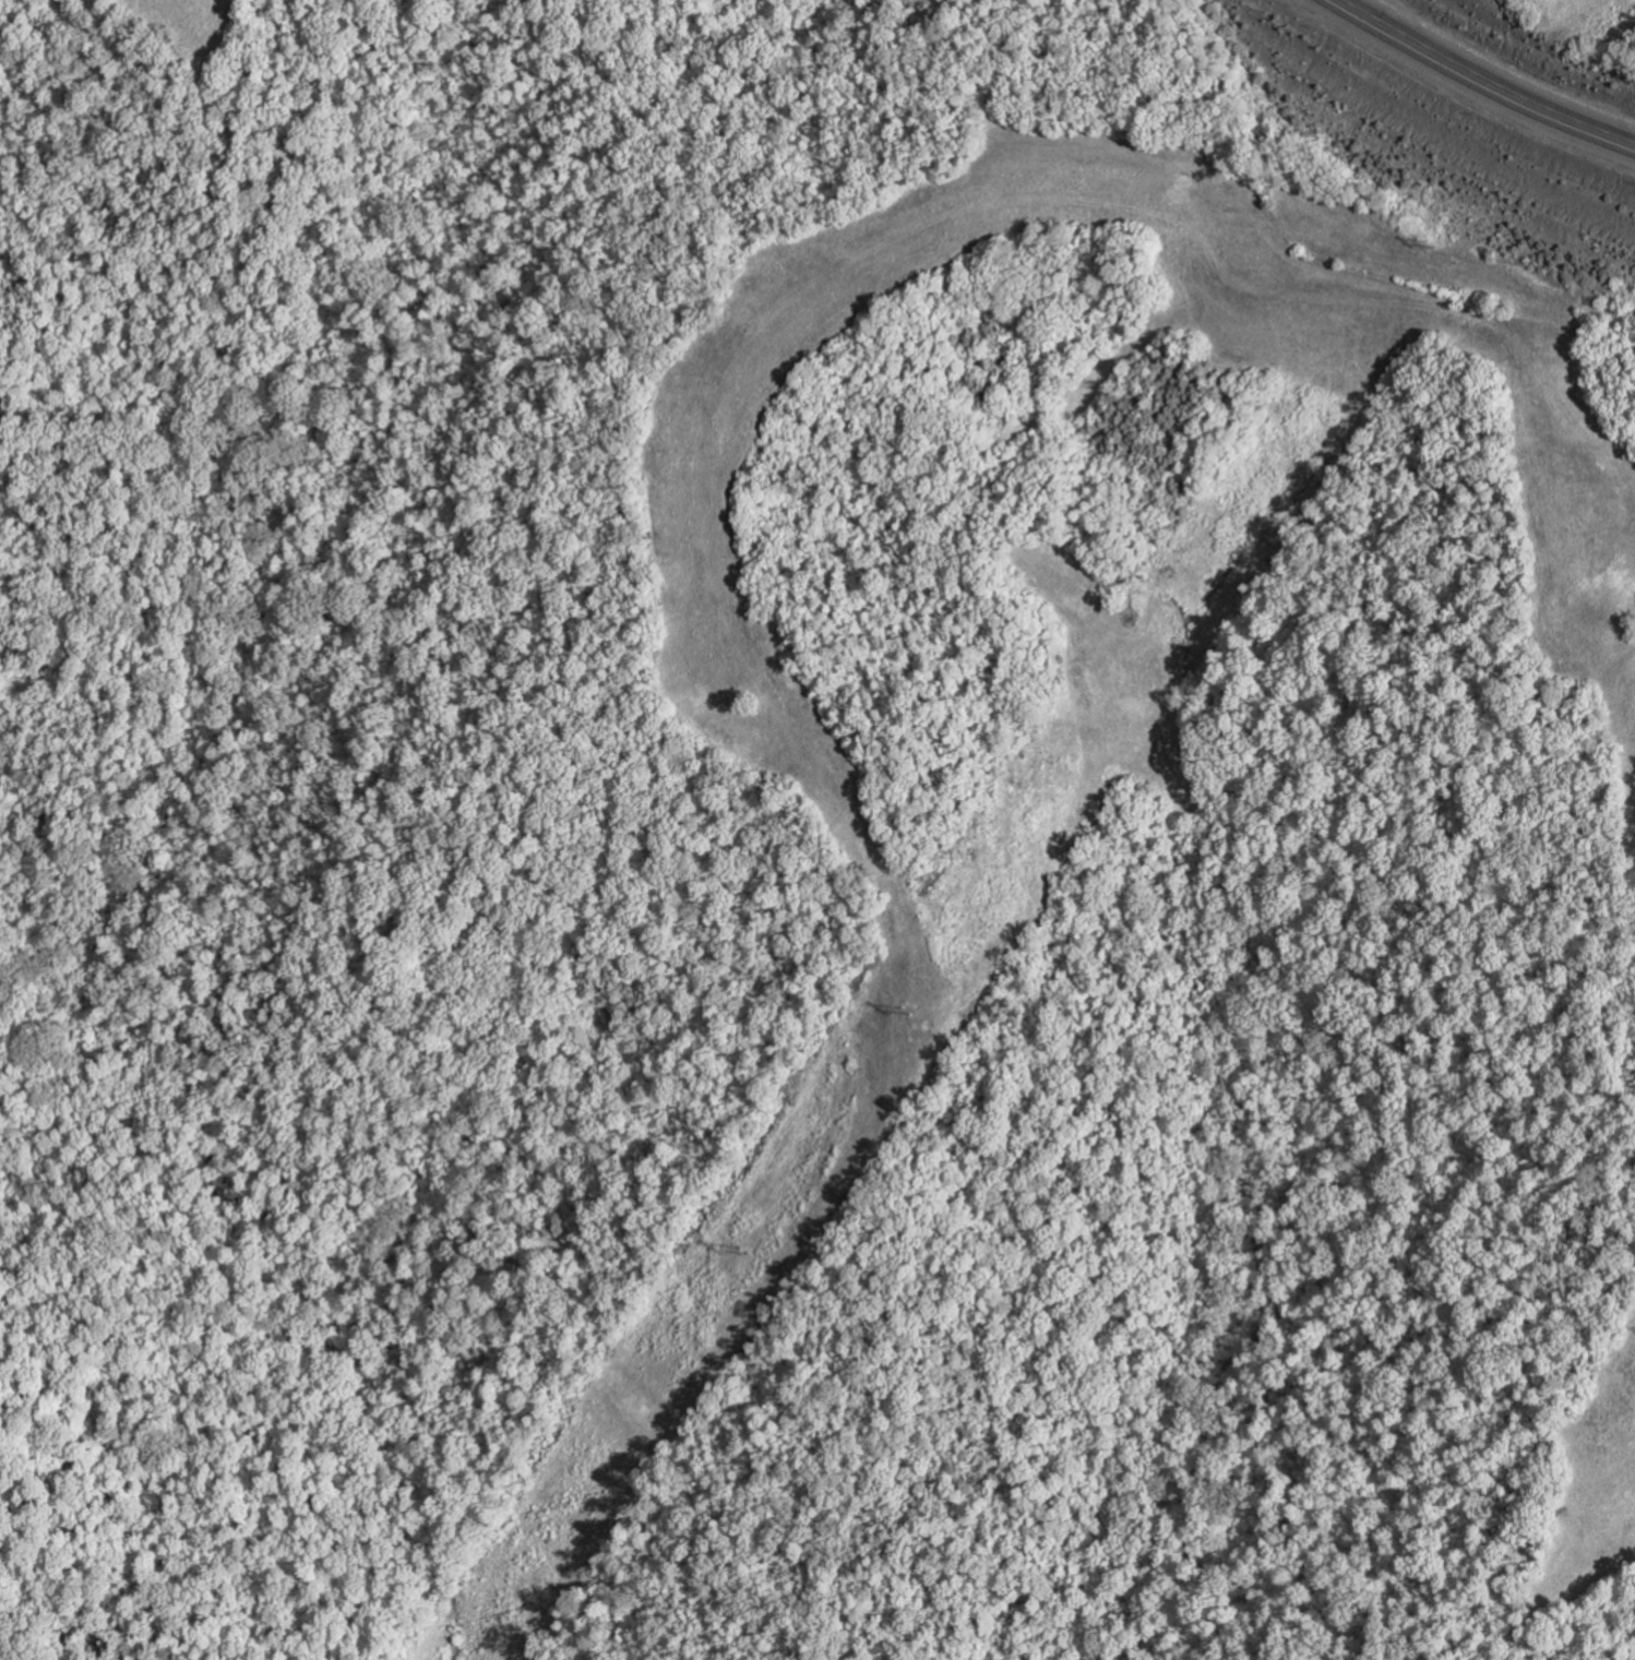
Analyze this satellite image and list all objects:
road: (1477, 82)
road: (1415, 308)
power tower: (906, 1012)

